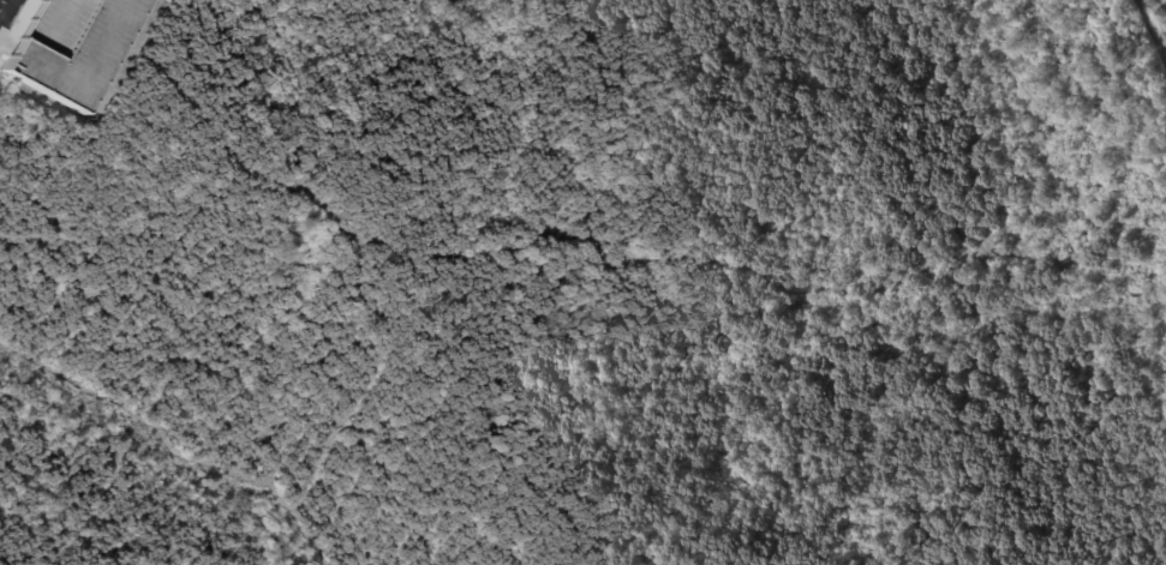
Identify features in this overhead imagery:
road: (5, 1)
road: (4, 2)
road: (1162, 4)
road: (1150, 29)
road: (5, 42)
building: (64, 46)
parking garage: (64, 46)
road: (465, 256)
road: (169, 446)

